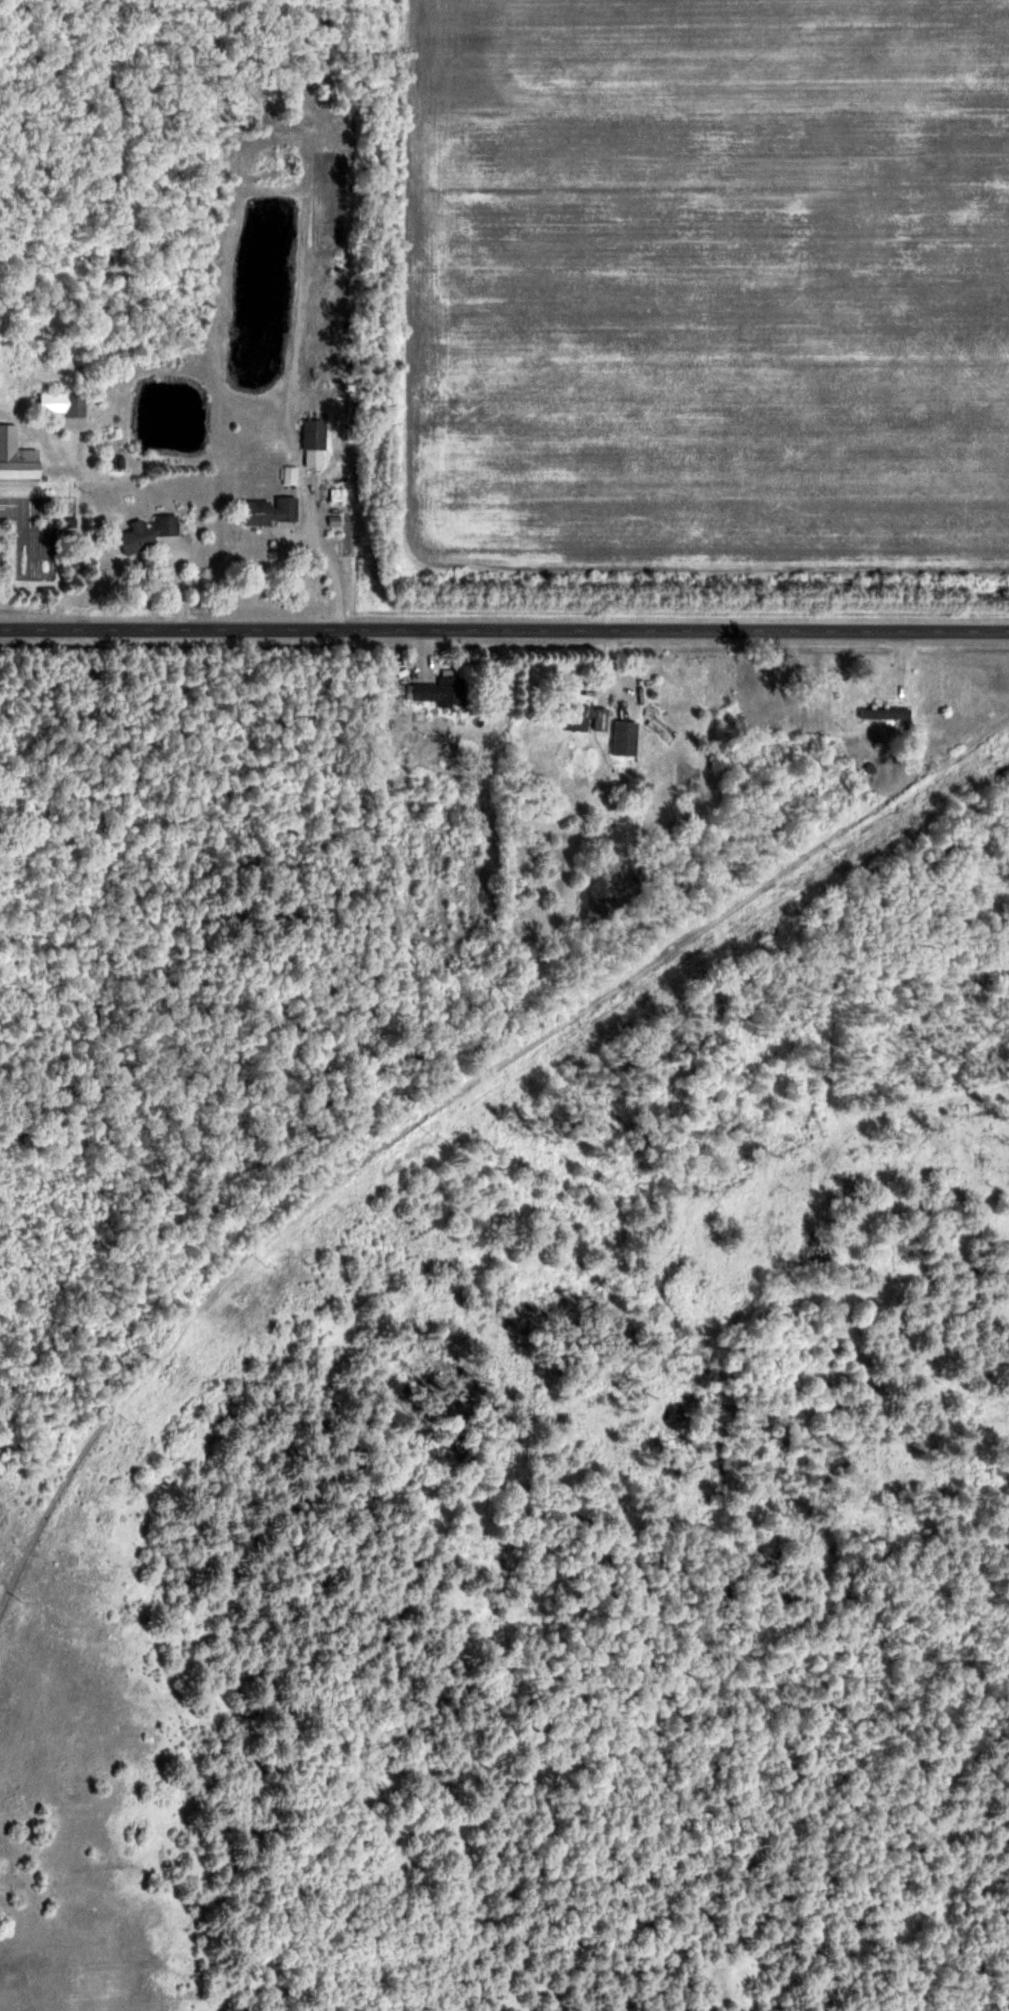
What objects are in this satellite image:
building: (62, 403)
building: (314, 442)
building: (16, 456)
building: (290, 474)
building: (270, 510)
building: (148, 533)
road: (322, 555)
road: (504, 631)
building: (440, 690)
building: (886, 713)
building: (585, 718)
building: (625, 739)

